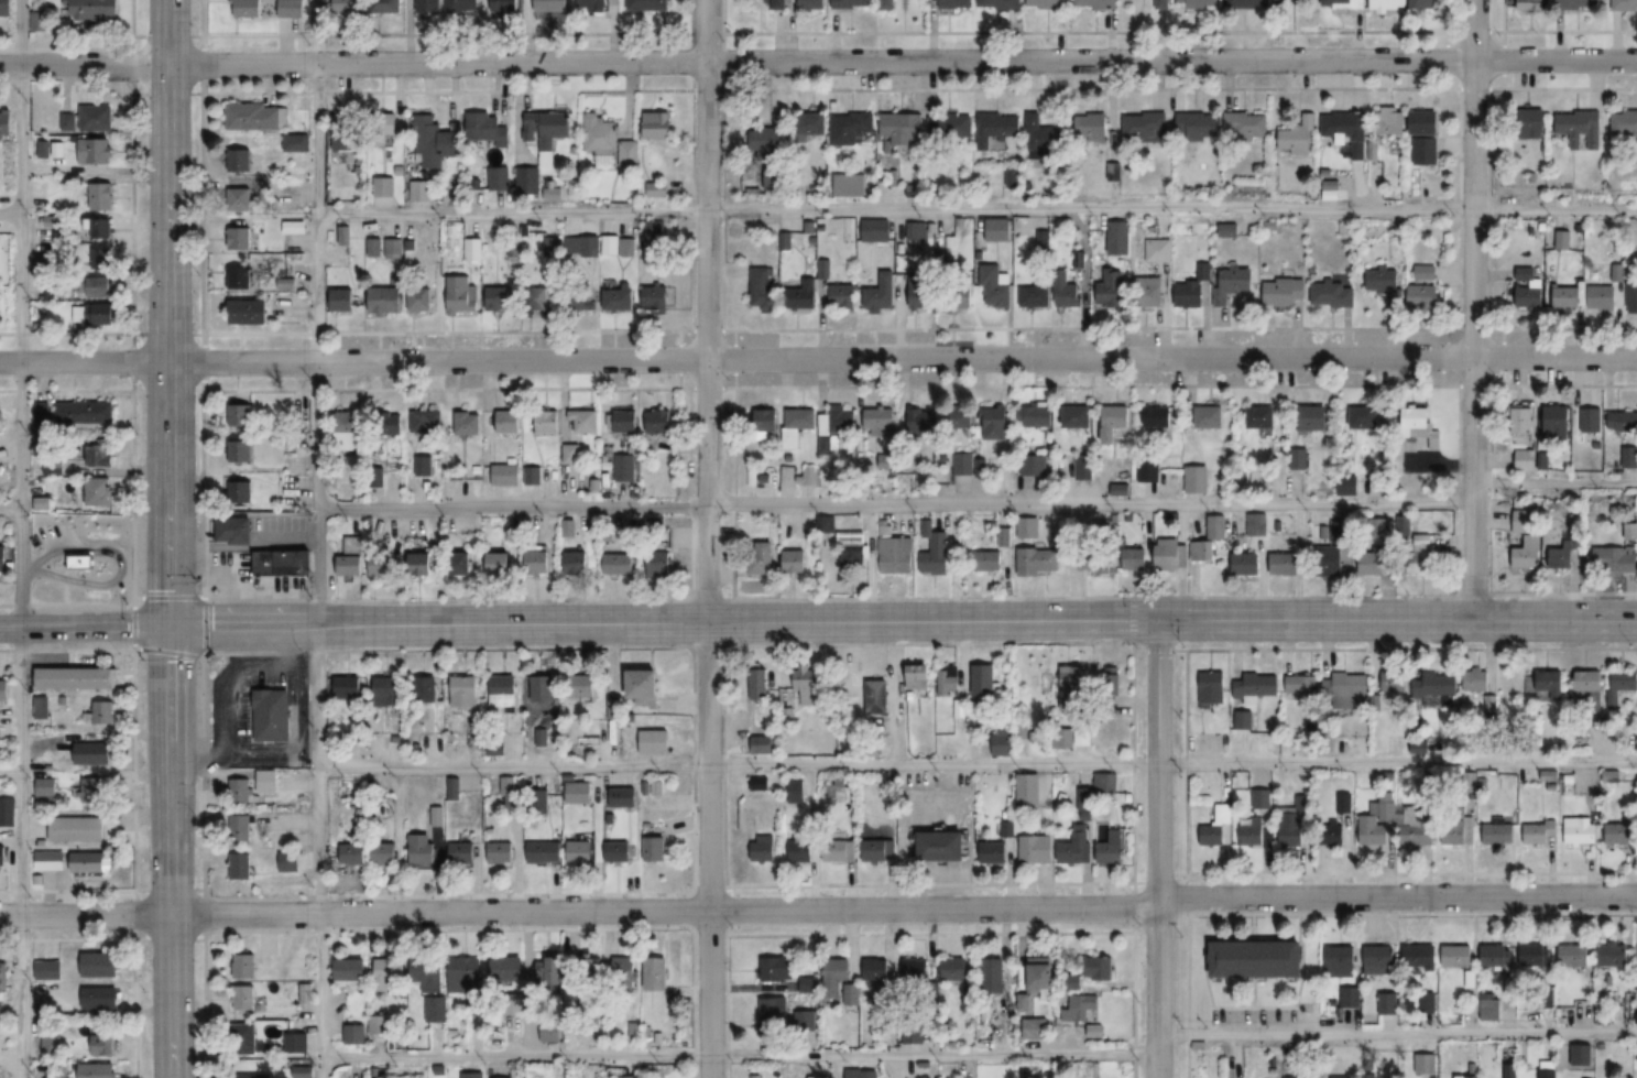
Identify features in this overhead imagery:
building: (954, 3)
building: (998, 3)
building: (1047, 3)
building: (1096, 3)
building: (1200, 3)
building: (1248, 3)
building: (853, 4)
building: (891, 4)
building: (1161, 4)
building: (1281, 4)
building: (1344, 4)
building: (1426, 4)
building: (1578, 4)
building: (461, 6)
building: (504, 6)
building: (594, 6)
building: (648, 6)
building: (812, 6)
building: (1386, 6)
building: (1530, 6)
building: (1625, 6)
building: (347, 7)
building: (385, 7)
building: (427, 7)
building: (549, 7)
building: (12, 8)
building: (247, 8)
building: (90, 11)
road: (84, 50)
road: (818, 62)
road: (316, 106)
building: (257, 117)
building: (96, 118)
building: (1392, 120)
building: (11, 122)
building: (1425, 122)
building: (1625, 122)
building: (658, 124)
building: (812, 124)
building: (1247, 124)
building: (546, 126)
building: (1145, 126)
building: (1198, 126)
building: (1093, 127)
building: (1532, 127)
building: (489, 128)
building: (902, 128)
building: (996, 128)
building: (852, 129)
building: (949, 129)
building: (1581, 129)
building: (1346, 131)
building: (346, 132)
building: (600, 134)
building: (1043, 139)
building: (1298, 139)
building: (768, 140)
building: (438, 142)
building: (295, 143)
building: (89, 151)
building: (1426, 151)
building: (630, 153)
building: (240, 161)
building: (528, 181)
building: (854, 185)
building: (382, 186)
building: (662, 189)
building: (419, 190)
building: (241, 195)
building: (100, 197)
road: (975, 210)
road: (9, 214)
building: (100, 229)
building: (996, 230)
building: (917, 233)
building: (345, 235)
building: (1120, 237)
building: (236, 239)
building: (1041, 239)
building: (1563, 240)
building: (373, 248)
building: (393, 248)
building: (471, 249)
building: (1158, 250)
building: (99, 259)
building: (1425, 273)
building: (238, 279)
building: (1232, 284)
building: (1386, 285)
building: (96, 287)
building: (995, 288)
building: (1111, 288)
building: (1193, 288)
building: (764, 290)
building: (1069, 292)
building: (883, 293)
building: (1150, 293)
building: (1285, 293)
building: (463, 294)
building: (920, 294)
building: (965, 294)
building: (1529, 294)
building: (1035, 295)
building: (1333, 295)
building: (620, 296)
building: (804, 296)
building: (842, 296)
building: (1425, 296)
building: (0, 297)
building: (1567, 297)
building: (1631, 297)
building: (419, 298)
building: (499, 298)
building: (656, 298)
building: (1602, 298)
building: (342, 300)
building: (385, 300)
building: (537, 300)
building: (581, 300)
road: (1472, 309)
road: (167, 312)
building: (249, 313)
building: (94, 315)
road: (818, 330)
road: (818, 359)
road: (316, 361)
building: (84, 413)
building: (239, 416)
building: (1039, 417)
building: (1078, 417)
building: (1158, 418)
building: (1210, 418)
building: (1262, 418)
building: (1365, 418)
building: (1524, 418)
building: (1000, 420)
building: (1314, 420)
building: (923, 421)
building: (959, 421)
building: (1591, 421)
building: (425, 422)
building: (509, 422)
building: (585, 422)
building: (626, 422)
building: (766, 422)
building: (880, 422)
building: (1622, 422)
building: (547, 423)
building: (659, 423)
building: (1558, 423)
building: (467, 424)
building: (1115, 424)
building: (1418, 424)
building: (798, 425)
building: (836, 429)
building: (347, 432)
building: (237, 450)
building: (100, 454)
building: (570, 454)
building: (1629, 457)
building: (1524, 461)
building: (1035, 465)
building: (423, 466)
building: (1082, 469)
building: (1147, 469)
building: (506, 475)
building: (810, 475)
building: (528, 476)
building: (1194, 480)
road: (1553, 483)
building: (1346, 486)
building: (1120, 489)
building: (97, 491)
building: (239, 492)
road: (894, 503)
road: (10, 510)
building: (1255, 524)
building: (655, 525)
building: (1030, 526)
building: (1215, 526)
building: (234, 531)
road: (20, 538)
road: (203, 538)
road: (706, 538)
building: (1524, 538)
building: (852, 549)
building: (1201, 551)
building: (893, 552)
building: (350, 553)
building: (1564, 553)
building: (935, 554)
building: (992, 554)
building: (1168, 554)
building: (1422, 554)
building: (1133, 556)
building: (761, 557)
building: (1038, 559)
building: (1615, 559)
building: (4, 560)
building: (1094, 560)
building: (1330, 560)
building: (538, 562)
building: (795, 562)
building: (1285, 563)
building: (1375, 563)
building: (285, 564)
building: (499, 564)
building: (577, 564)
building: (619, 564)
building: (1247, 564)
building: (422, 565)
building: (461, 565)
building: (383, 567)
building: (659, 570)
road: (1129, 619)
traffic signals: (1157, 619)
road: (903, 621)
road: (84, 625)
traffic signals: (168, 625)
road: (318, 638)
building: (917, 676)
building: (76, 677)
building: (949, 677)
building: (979, 679)
building: (1590, 679)
building: (1625, 679)
building: (1475, 680)
building: (1394, 682)
building: (645, 683)
building: (585, 685)
building: (760, 685)
building: (1546, 685)
building: (348, 686)
building: (1255, 686)
building: (425, 687)
building: (1299, 687)
building: (389, 688)
building: (542, 688)
building: (804, 688)
building: (1072, 688)
building: (1432, 688)
building: (4, 689)
building: (1210, 689)
building: (463, 690)
building: (502, 690)
building: (1344, 693)
building: (876, 696)
building: (1489, 703)
building: (42, 706)
building: (953, 708)
building: (97, 711)
building: (272, 715)
building: (654, 741)
building: (1002, 741)
building: (762, 744)
building: (92, 752)
road: (978, 764)
road: (11, 774)
building: (268, 781)
building: (759, 783)
building: (1105, 783)
building: (45, 786)
building: (657, 787)
building: (90, 788)
building: (241, 788)
building: (795, 791)
building: (1027, 791)
building: (579, 792)
building: (631, 798)
building: (538, 802)
building: (7, 810)
building: (435, 816)
building: (1215, 824)
building: (1291, 825)
building: (240, 827)
building: (77, 829)
building: (1458, 831)
building: (1580, 831)
building: (1622, 831)
building: (1253, 832)
building: (1538, 834)
building: (1497, 835)
building: (1331, 836)
building: (1420, 836)
building: (1373, 838)
building: (1111, 843)
building: (943, 846)
building: (1076, 846)
building: (423, 848)
building: (762, 848)
road: (1158, 848)
building: (654, 849)
building: (840, 849)
building: (1035, 849)
building: (581, 850)
building: (800, 850)
building: (881, 850)
road: (170, 851)
building: (545, 851)
building: (618, 851)
building: (353, 852)
building: (462, 852)
building: (501, 852)
building: (993, 852)
building: (385, 853)
building: (3, 857)
building: (48, 860)
building: (90, 861)
building: (290, 862)
building: (242, 865)
road: (819, 907)
road: (320, 914)
building: (1458, 955)
building: (1494, 955)
building: (1532, 955)
building: (1574, 955)
building: (1615, 955)
building: (1258, 957)
building: (1421, 957)
building: (1378, 959)
building: (1341, 960)
building: (99, 963)
building: (625, 965)
building: (243, 966)
building: (350, 968)
building: (506, 968)
building: (776, 968)
building: (875, 968)
building: (953, 968)
building: (1098, 968)
building: (47, 969)
building: (915, 969)
building: (548, 970)
building: (388, 971)
building: (463, 972)
building: (655, 972)
building: (1043, 972)
building: (426, 974)
building: (836, 974)
building: (993, 974)
building: (3, 980)
building: (808, 983)
building: (882, 993)
building: (851, 994)
building: (243, 997)
building: (1351, 997)
building: (99, 998)
building: (1387, 1002)
building: (1079, 1006)
building: (1489, 1008)
building: (435, 1009)
building: (774, 1016)
building: (807, 1021)
building: (1034, 1028)
road: (1398, 1033)
building: (244, 1038)
building: (296, 1042)
building: (102, 1044)
building: (51, 1045)
road: (739, 1056)
road: (11, 1063)
building: (1426, 1063)
road: (320, 1069)
building: (1548, 1069)
building: (97, 1070)
building: (861, 1072)
building: (254, 1076)
building: (630, 1076)
building: (1340, 1077)

